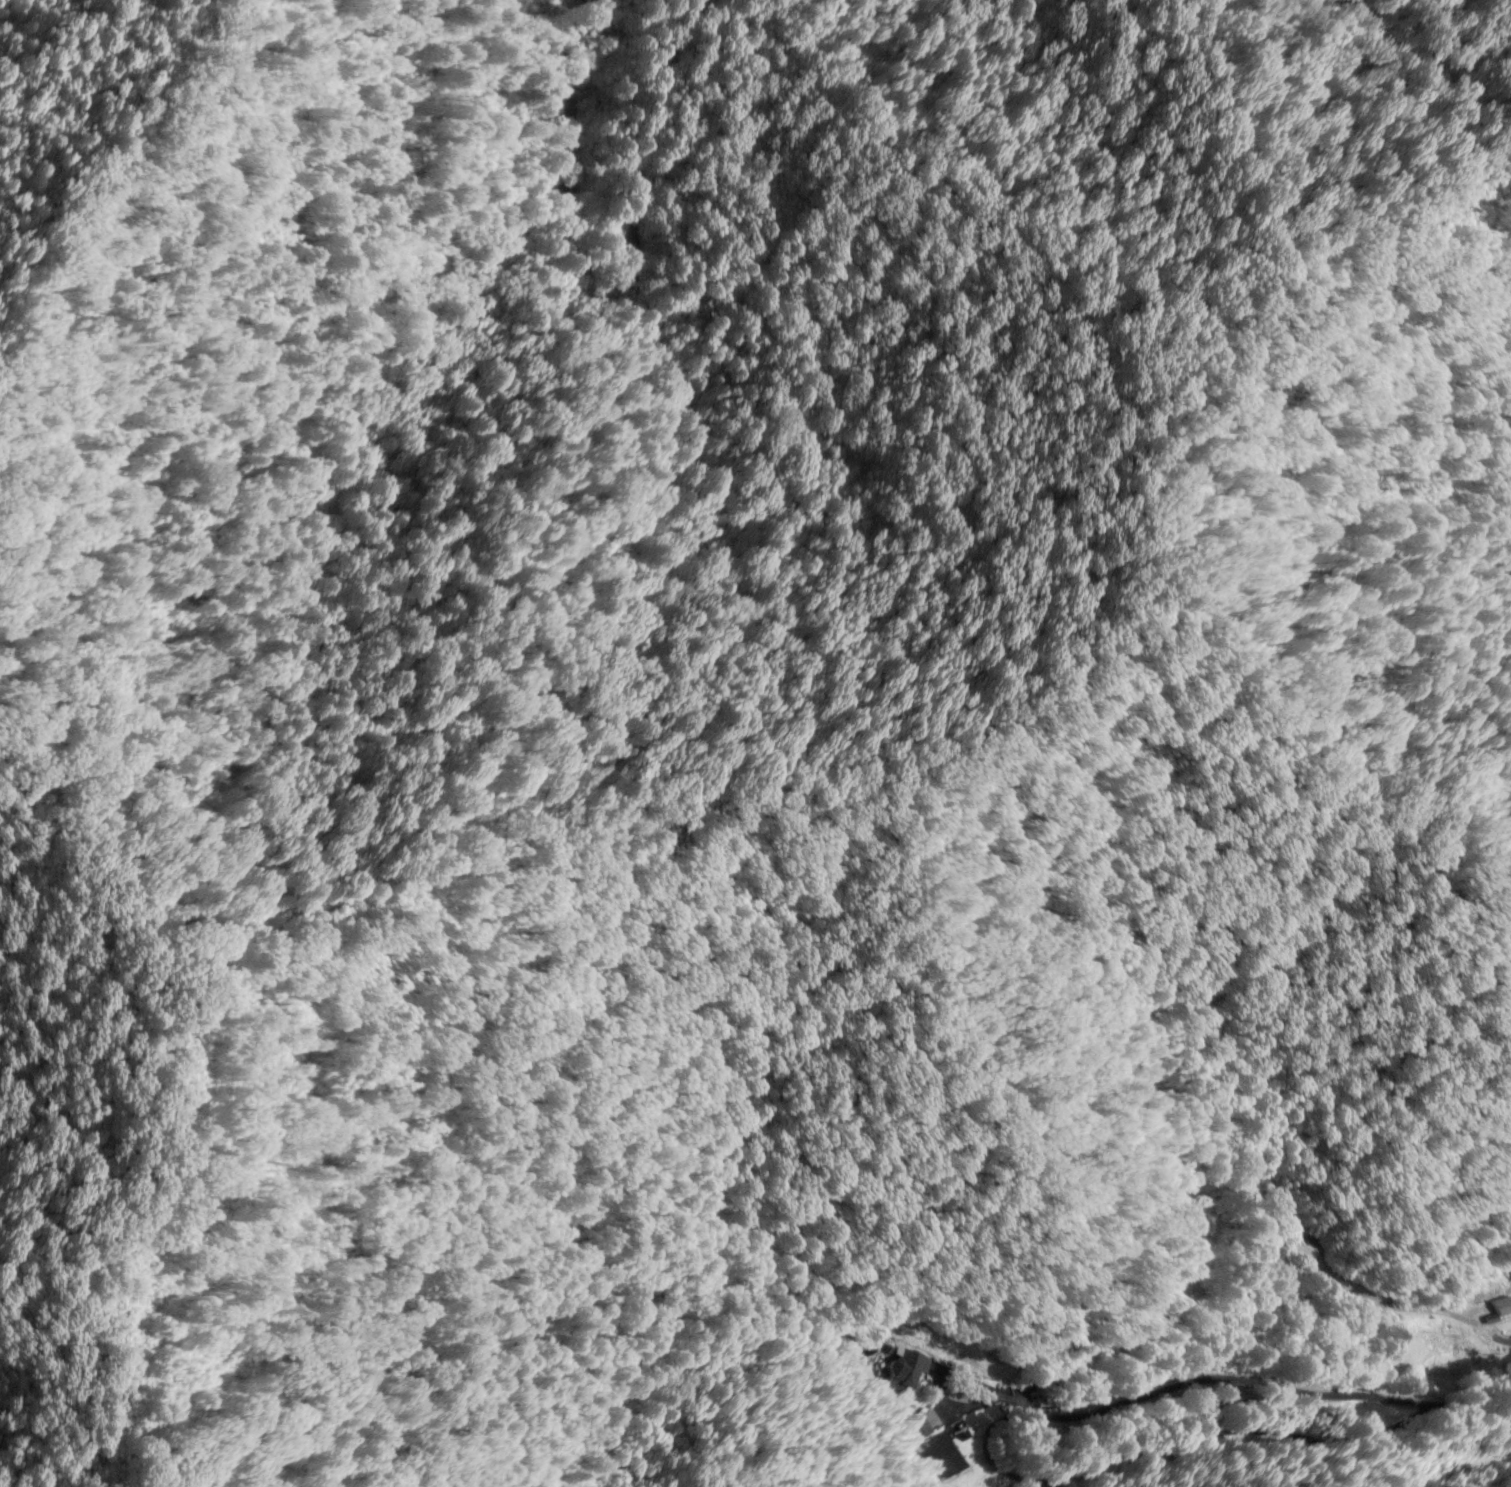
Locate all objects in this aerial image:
building: (1292, 1250)
building: (1498, 1309)
building: (1452, 1333)
road: (1303, 1392)
road: (1061, 1417)

